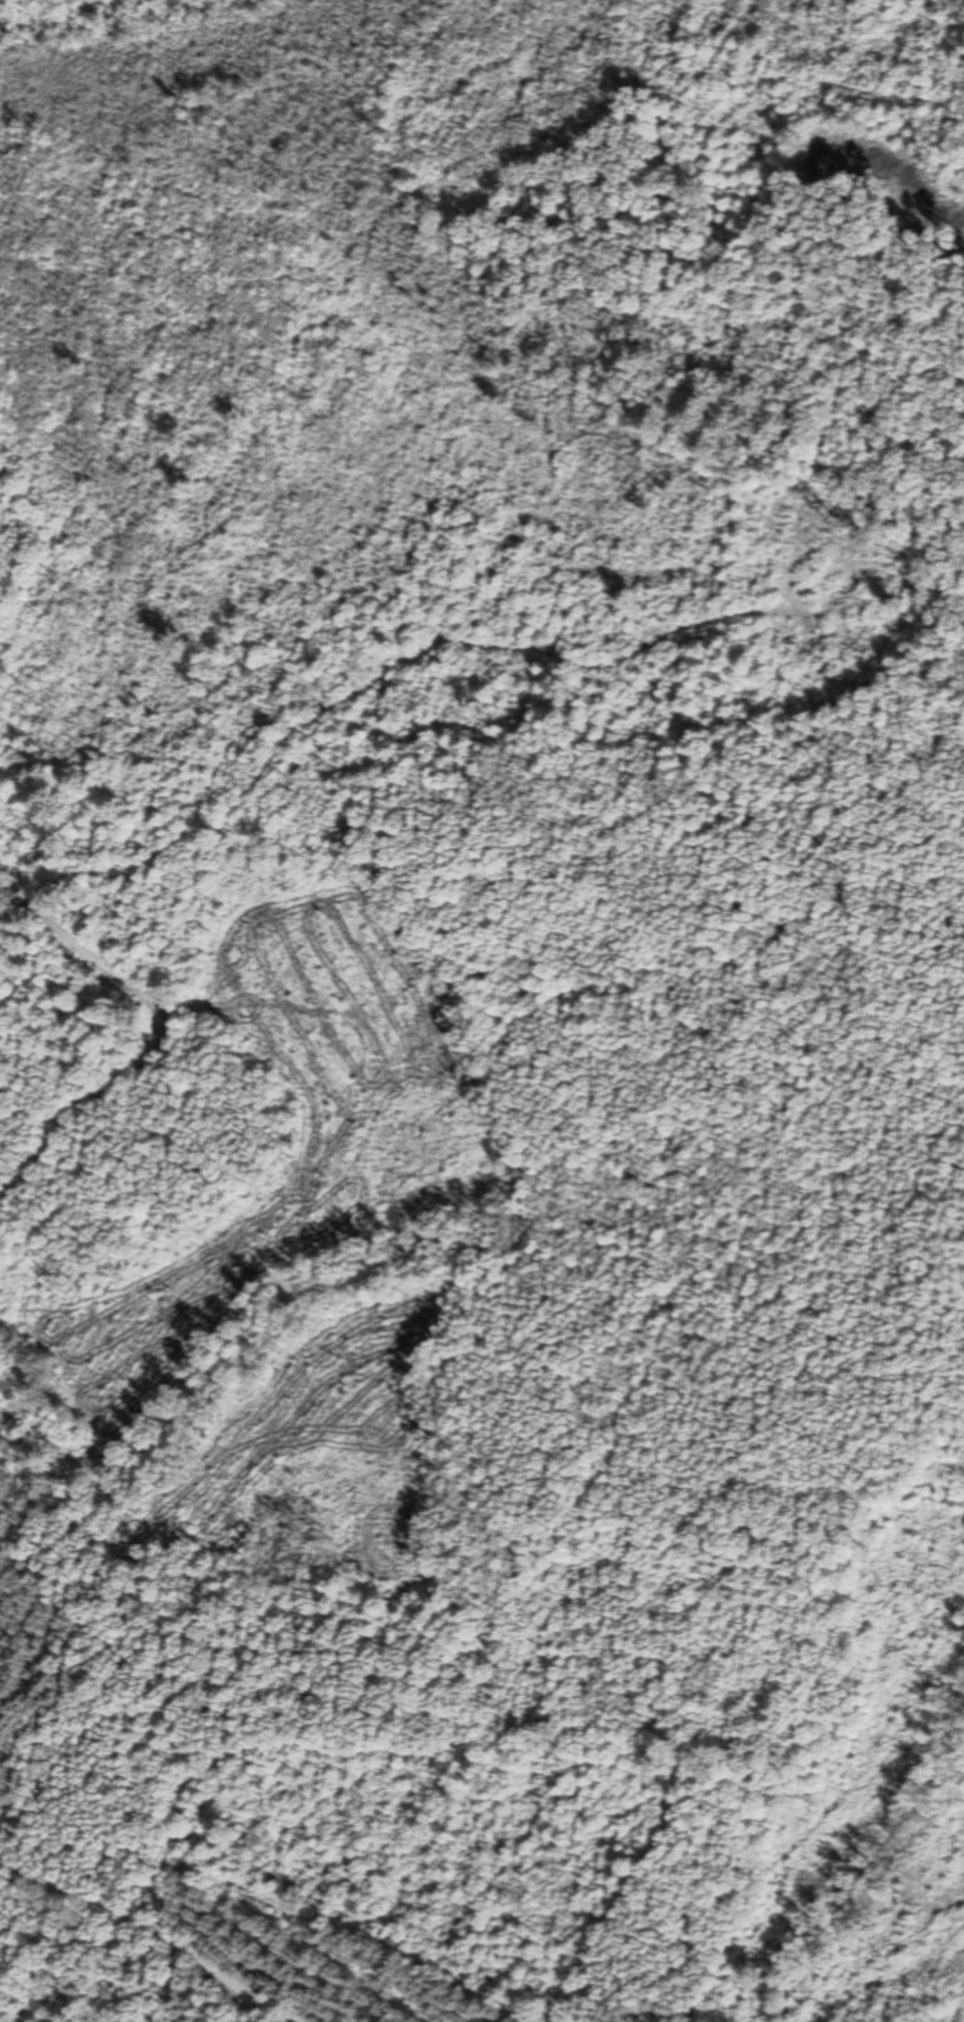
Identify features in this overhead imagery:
road: (104, 1937)

